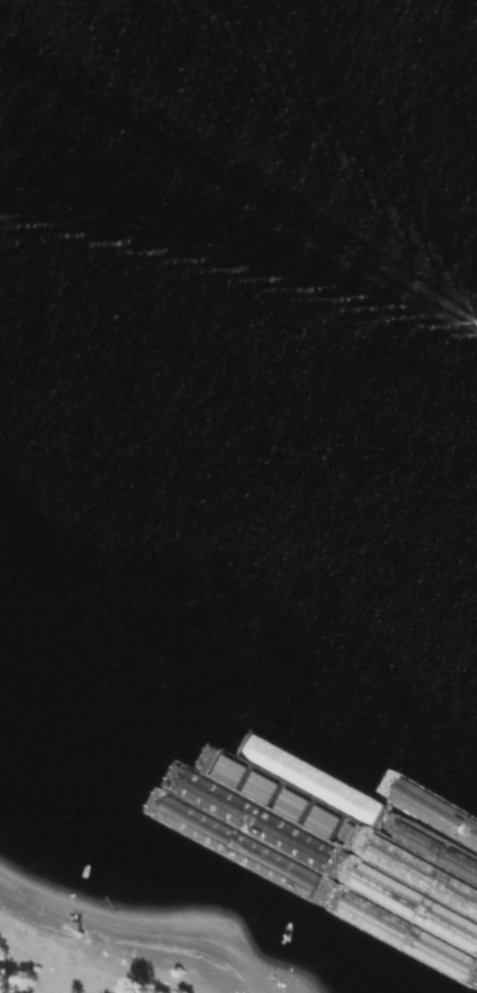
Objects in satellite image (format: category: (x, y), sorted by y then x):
river: (238, 370)

